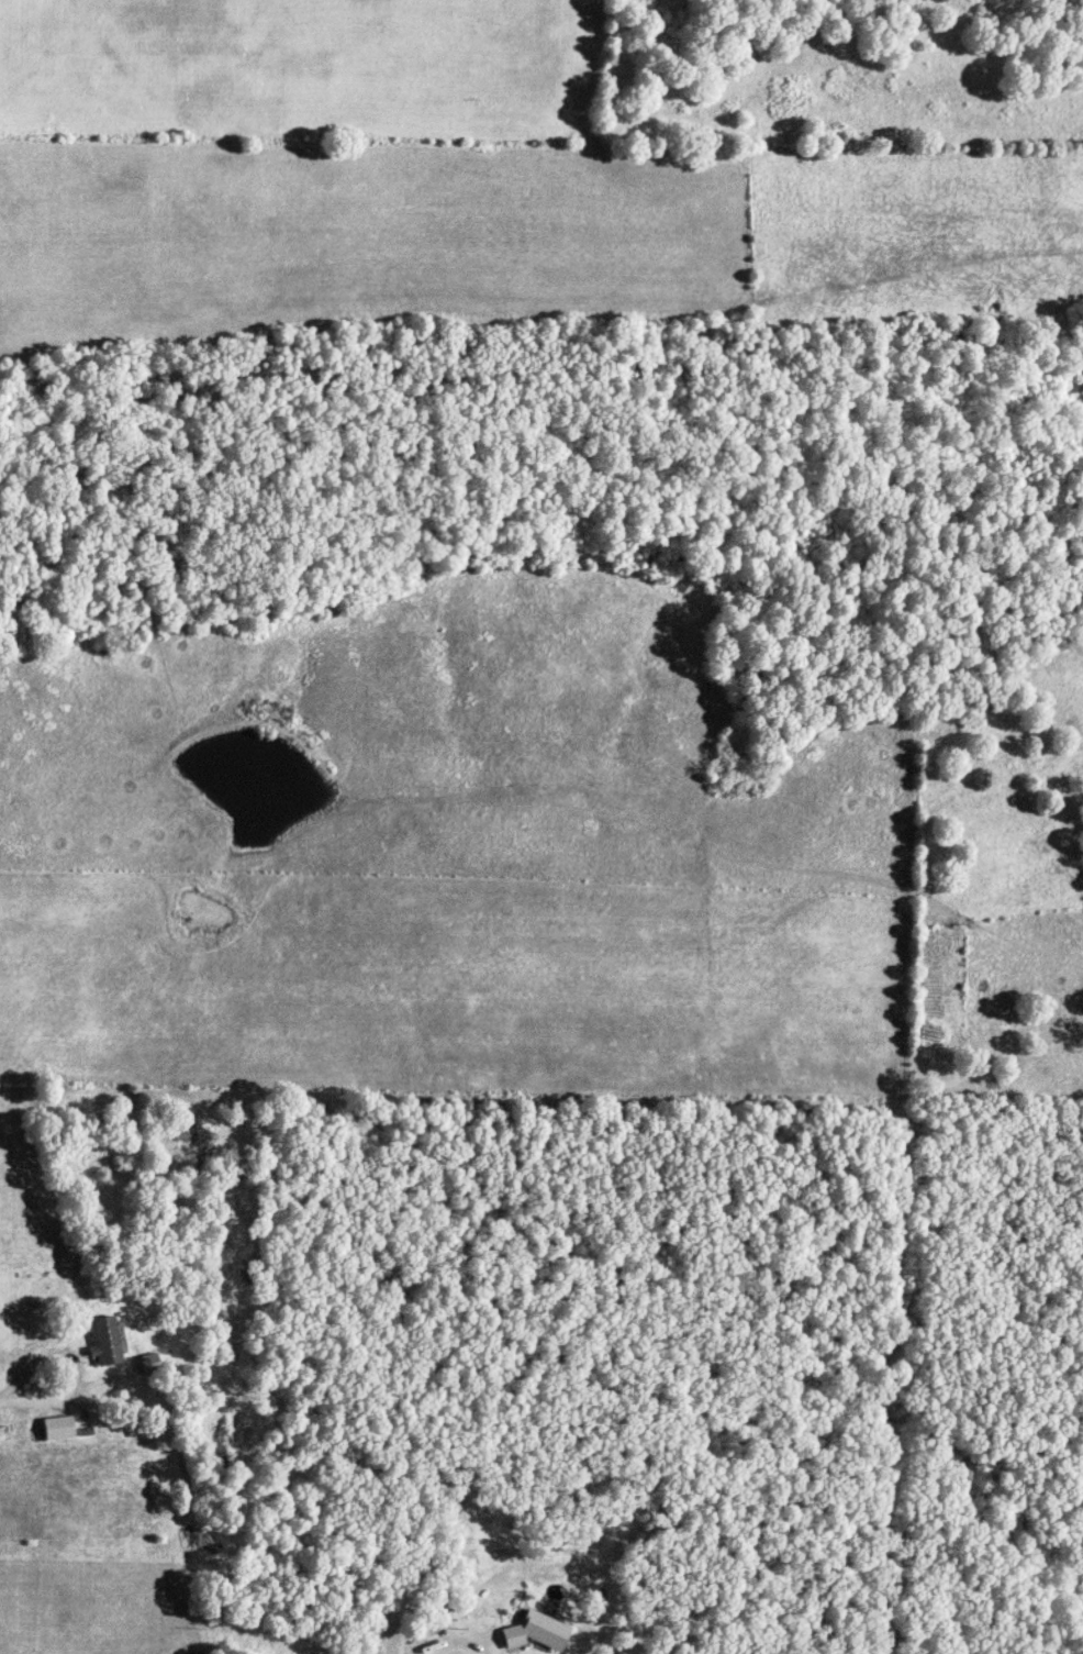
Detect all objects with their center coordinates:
building: (105, 1341)
building: (149, 1363)
road: (2, 1400)
building: (58, 1428)
road: (347, 1603)
building: (539, 1631)

